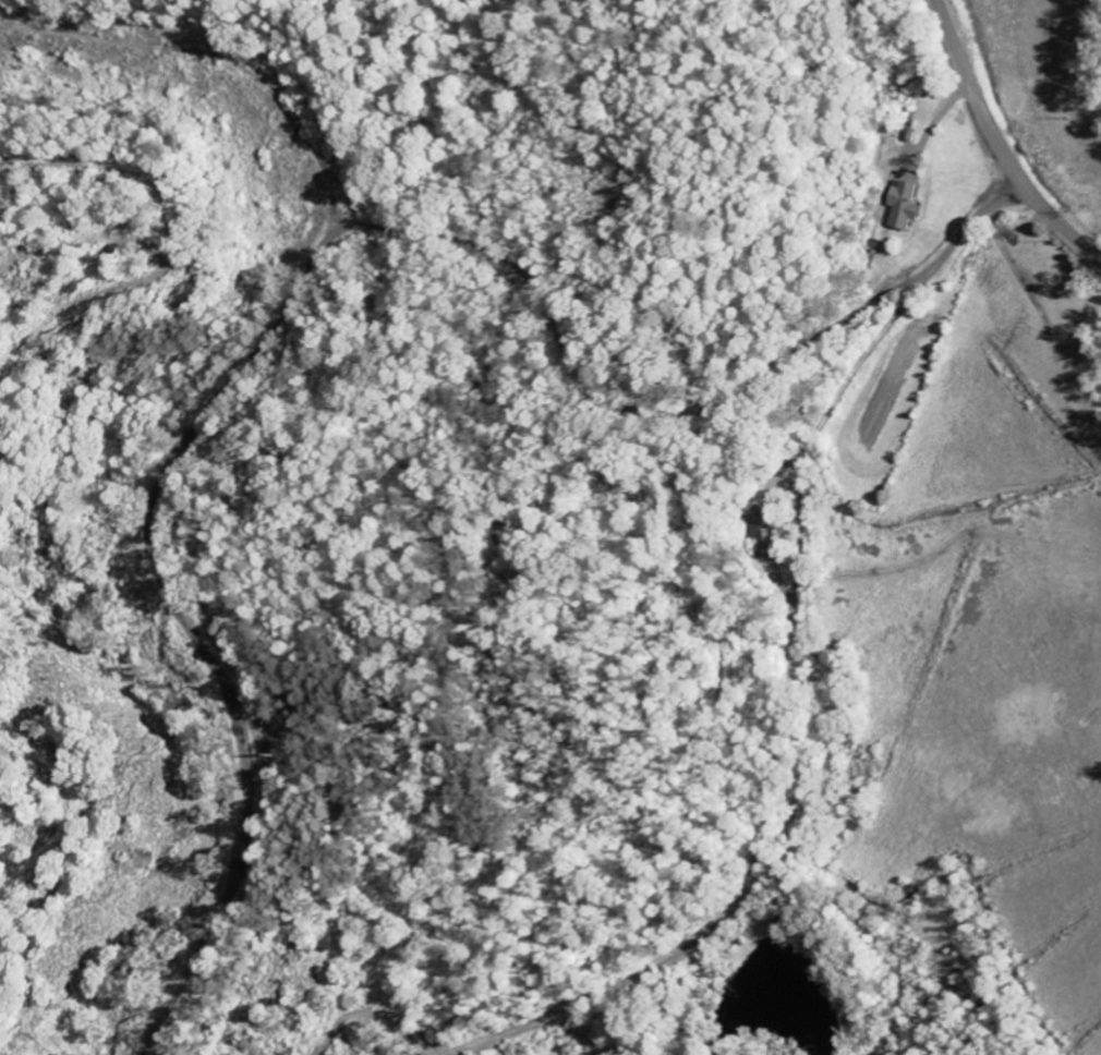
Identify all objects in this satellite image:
road: (999, 145)
building: (907, 204)
road: (603, 417)
road: (776, 488)

